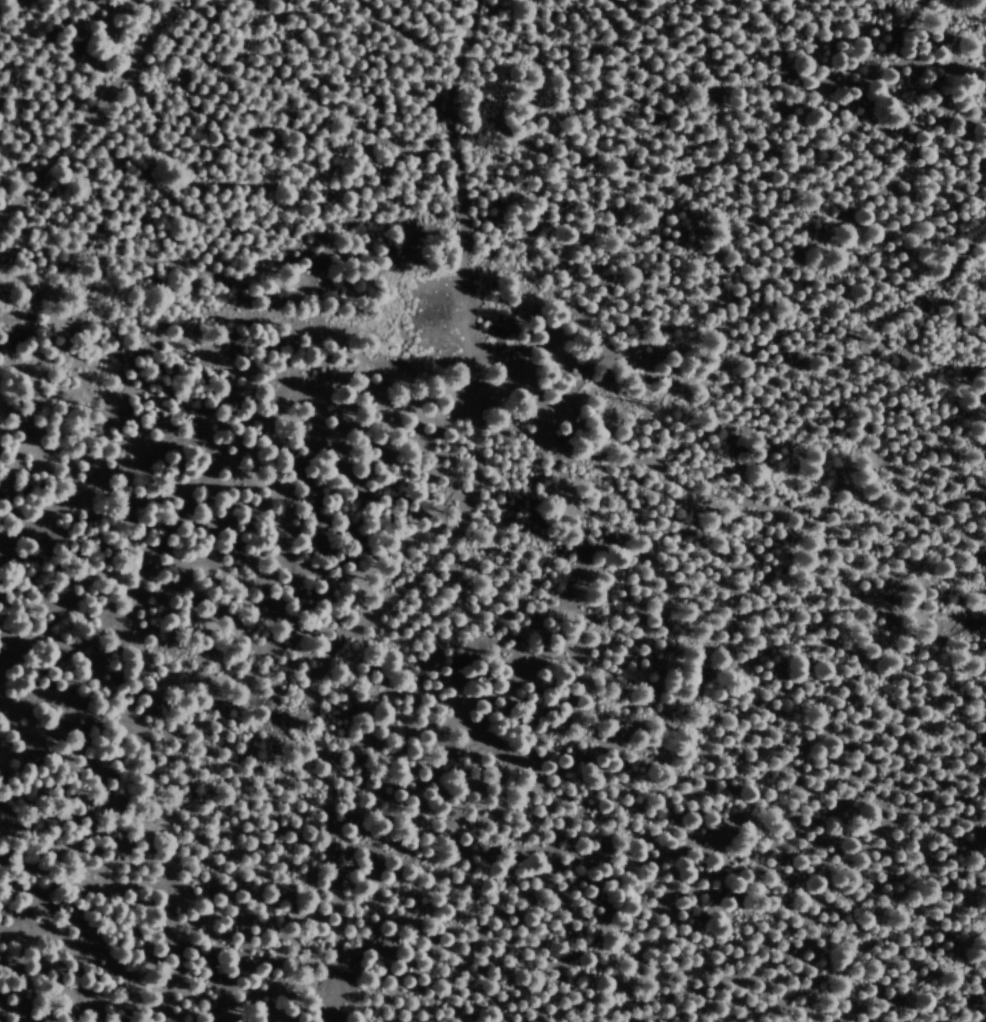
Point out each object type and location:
road: (94, 110)

